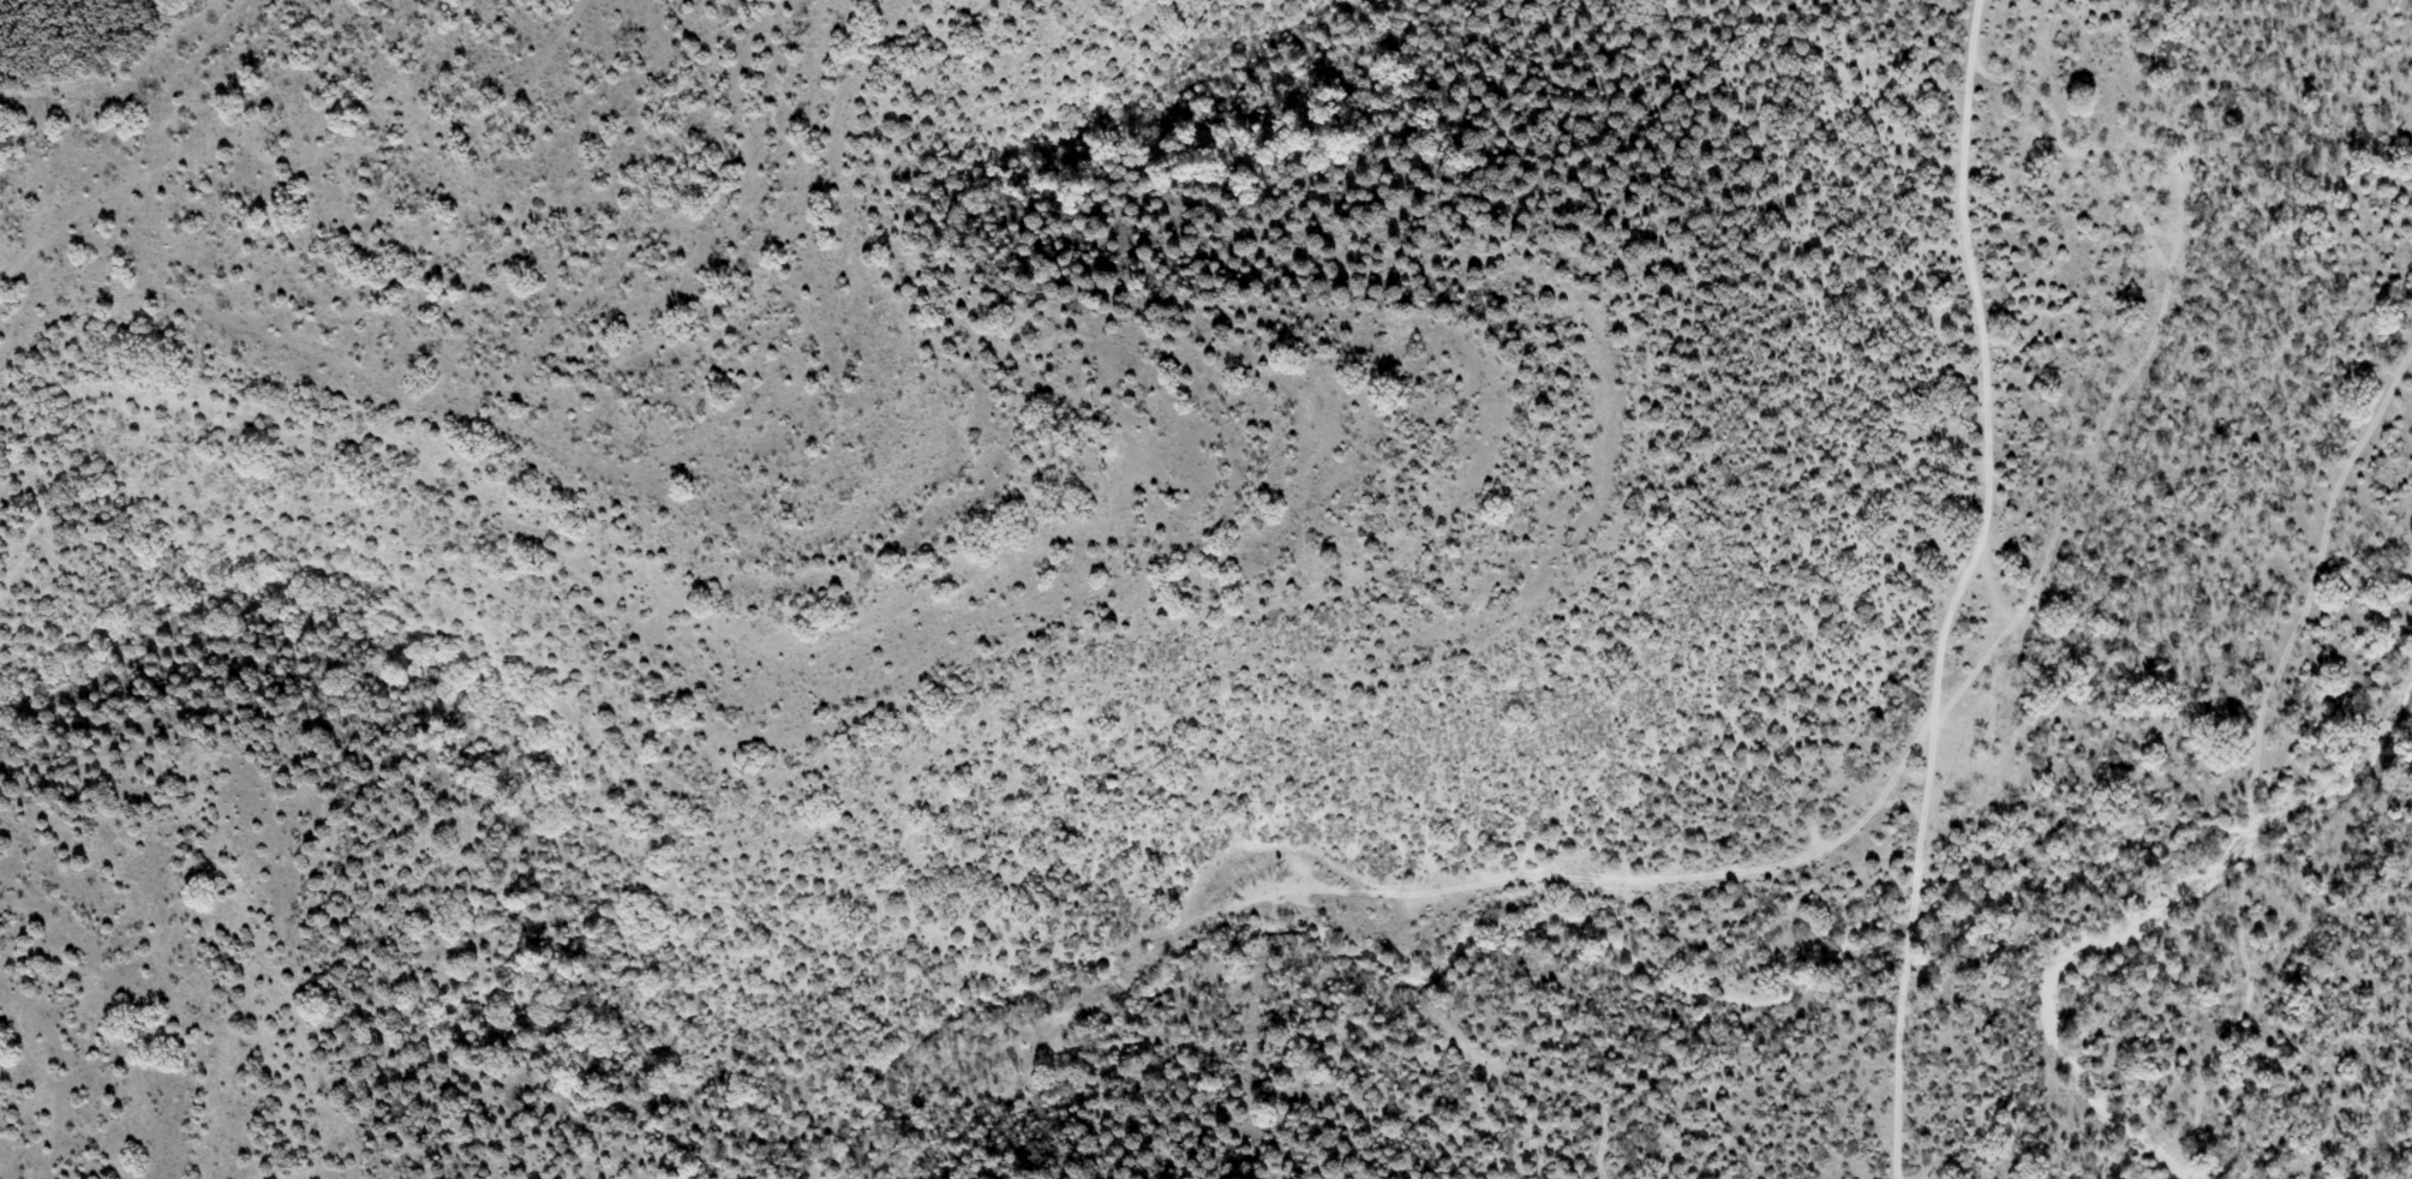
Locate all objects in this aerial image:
road: (1979, 588)

